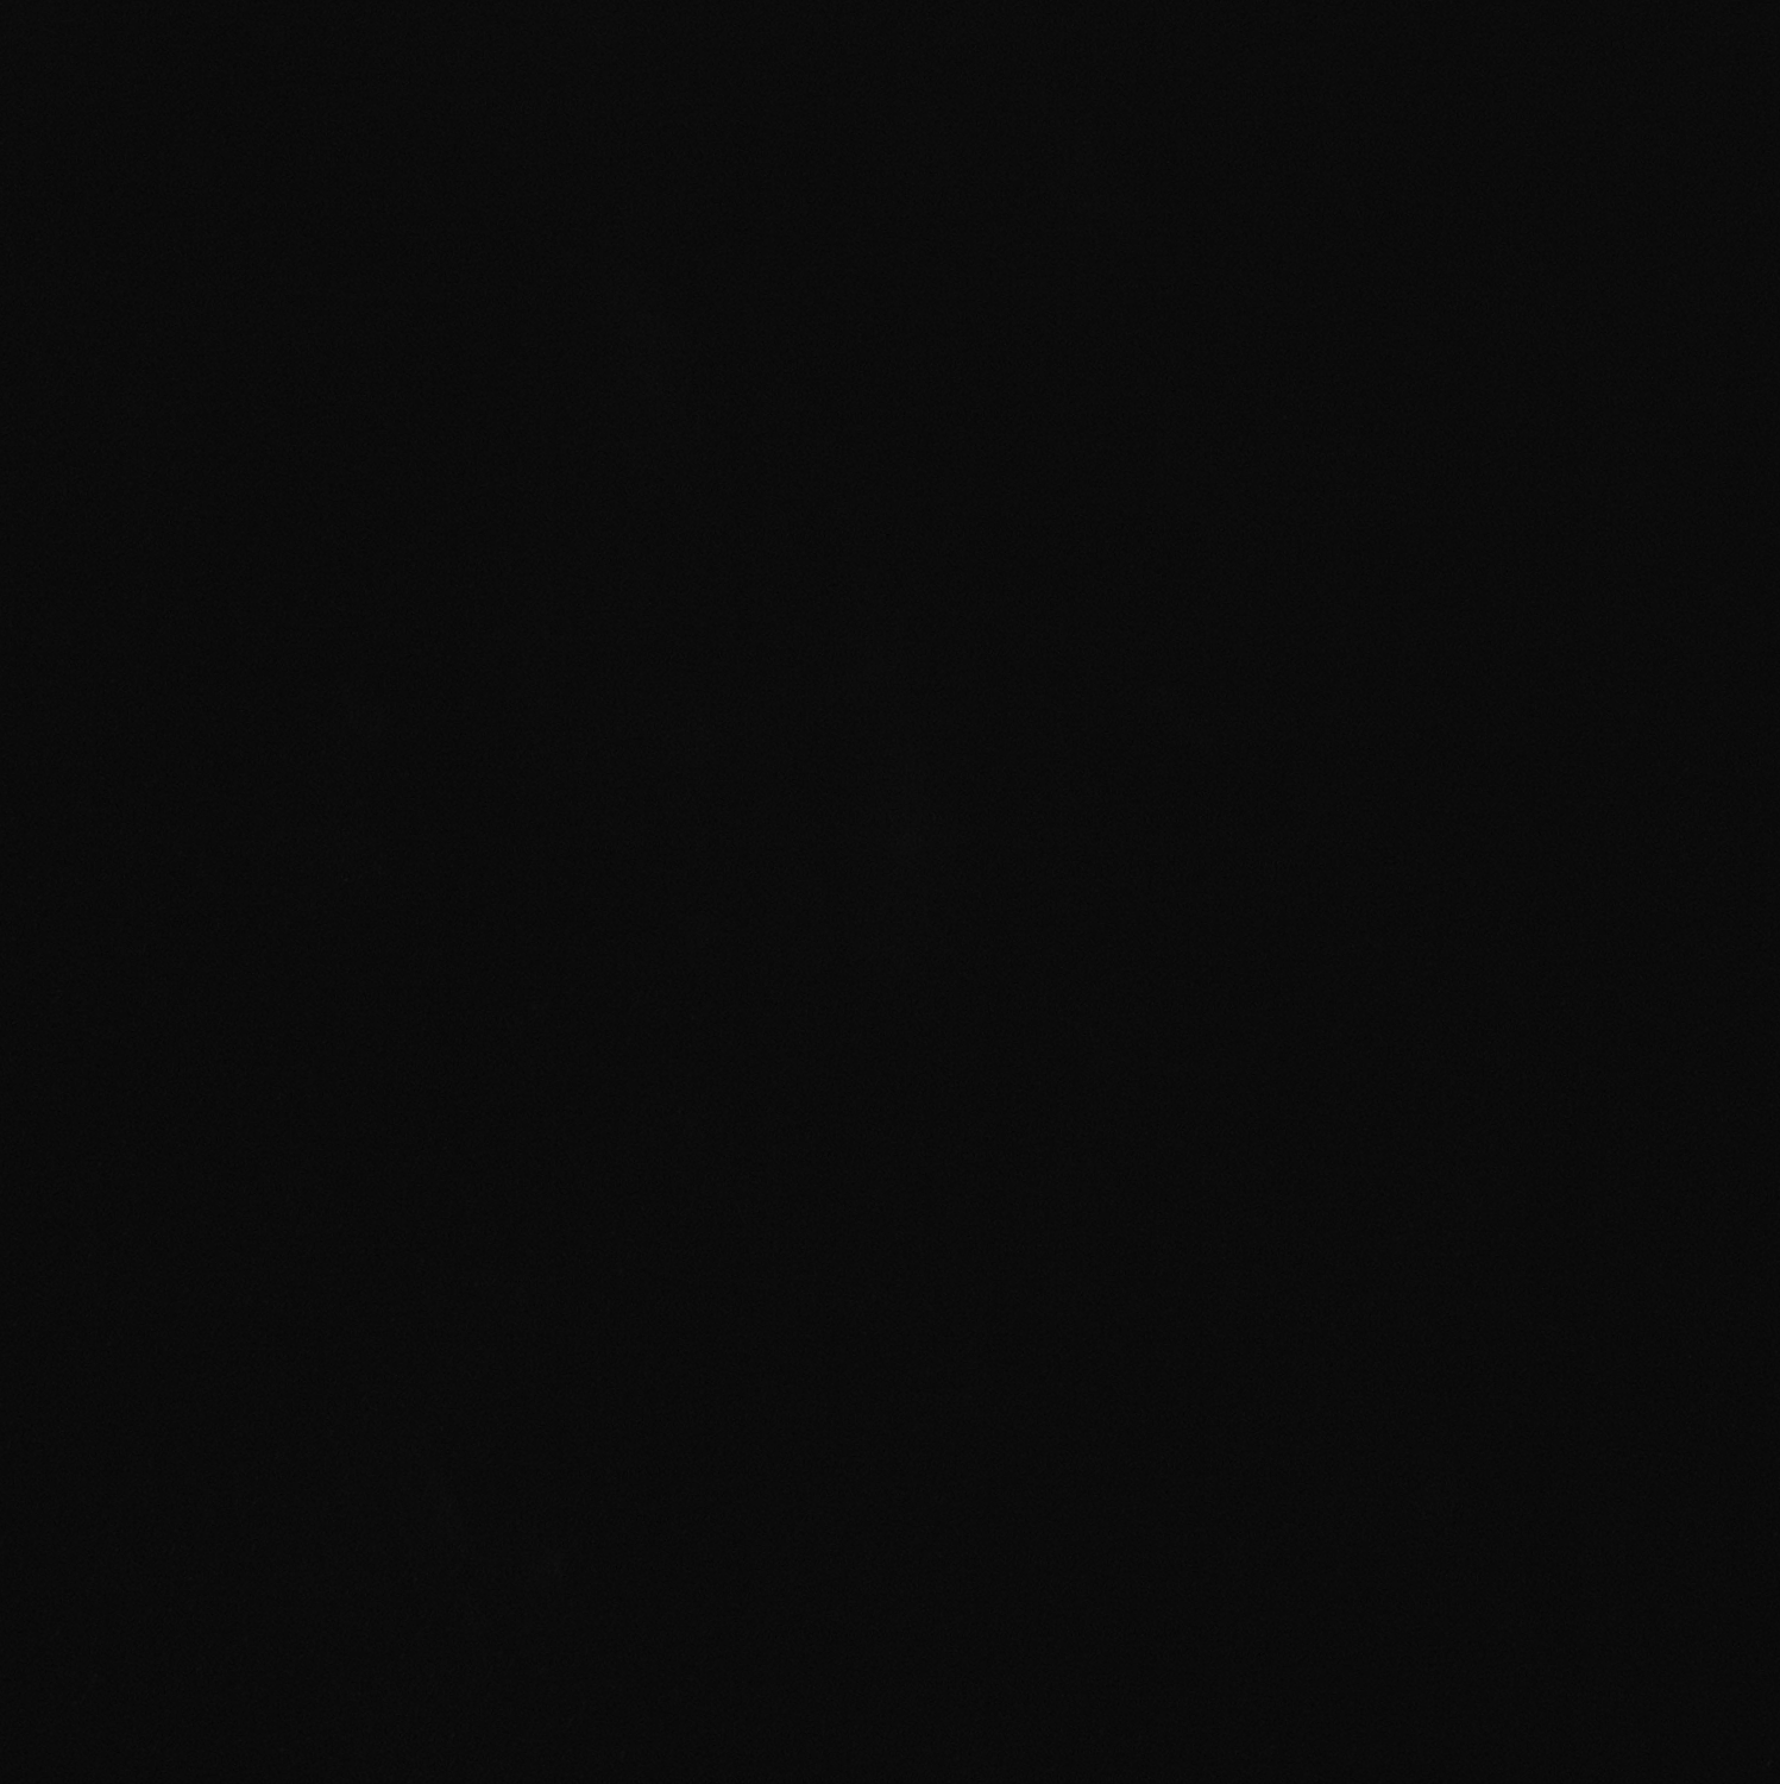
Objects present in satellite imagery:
river: (340, 1603)

